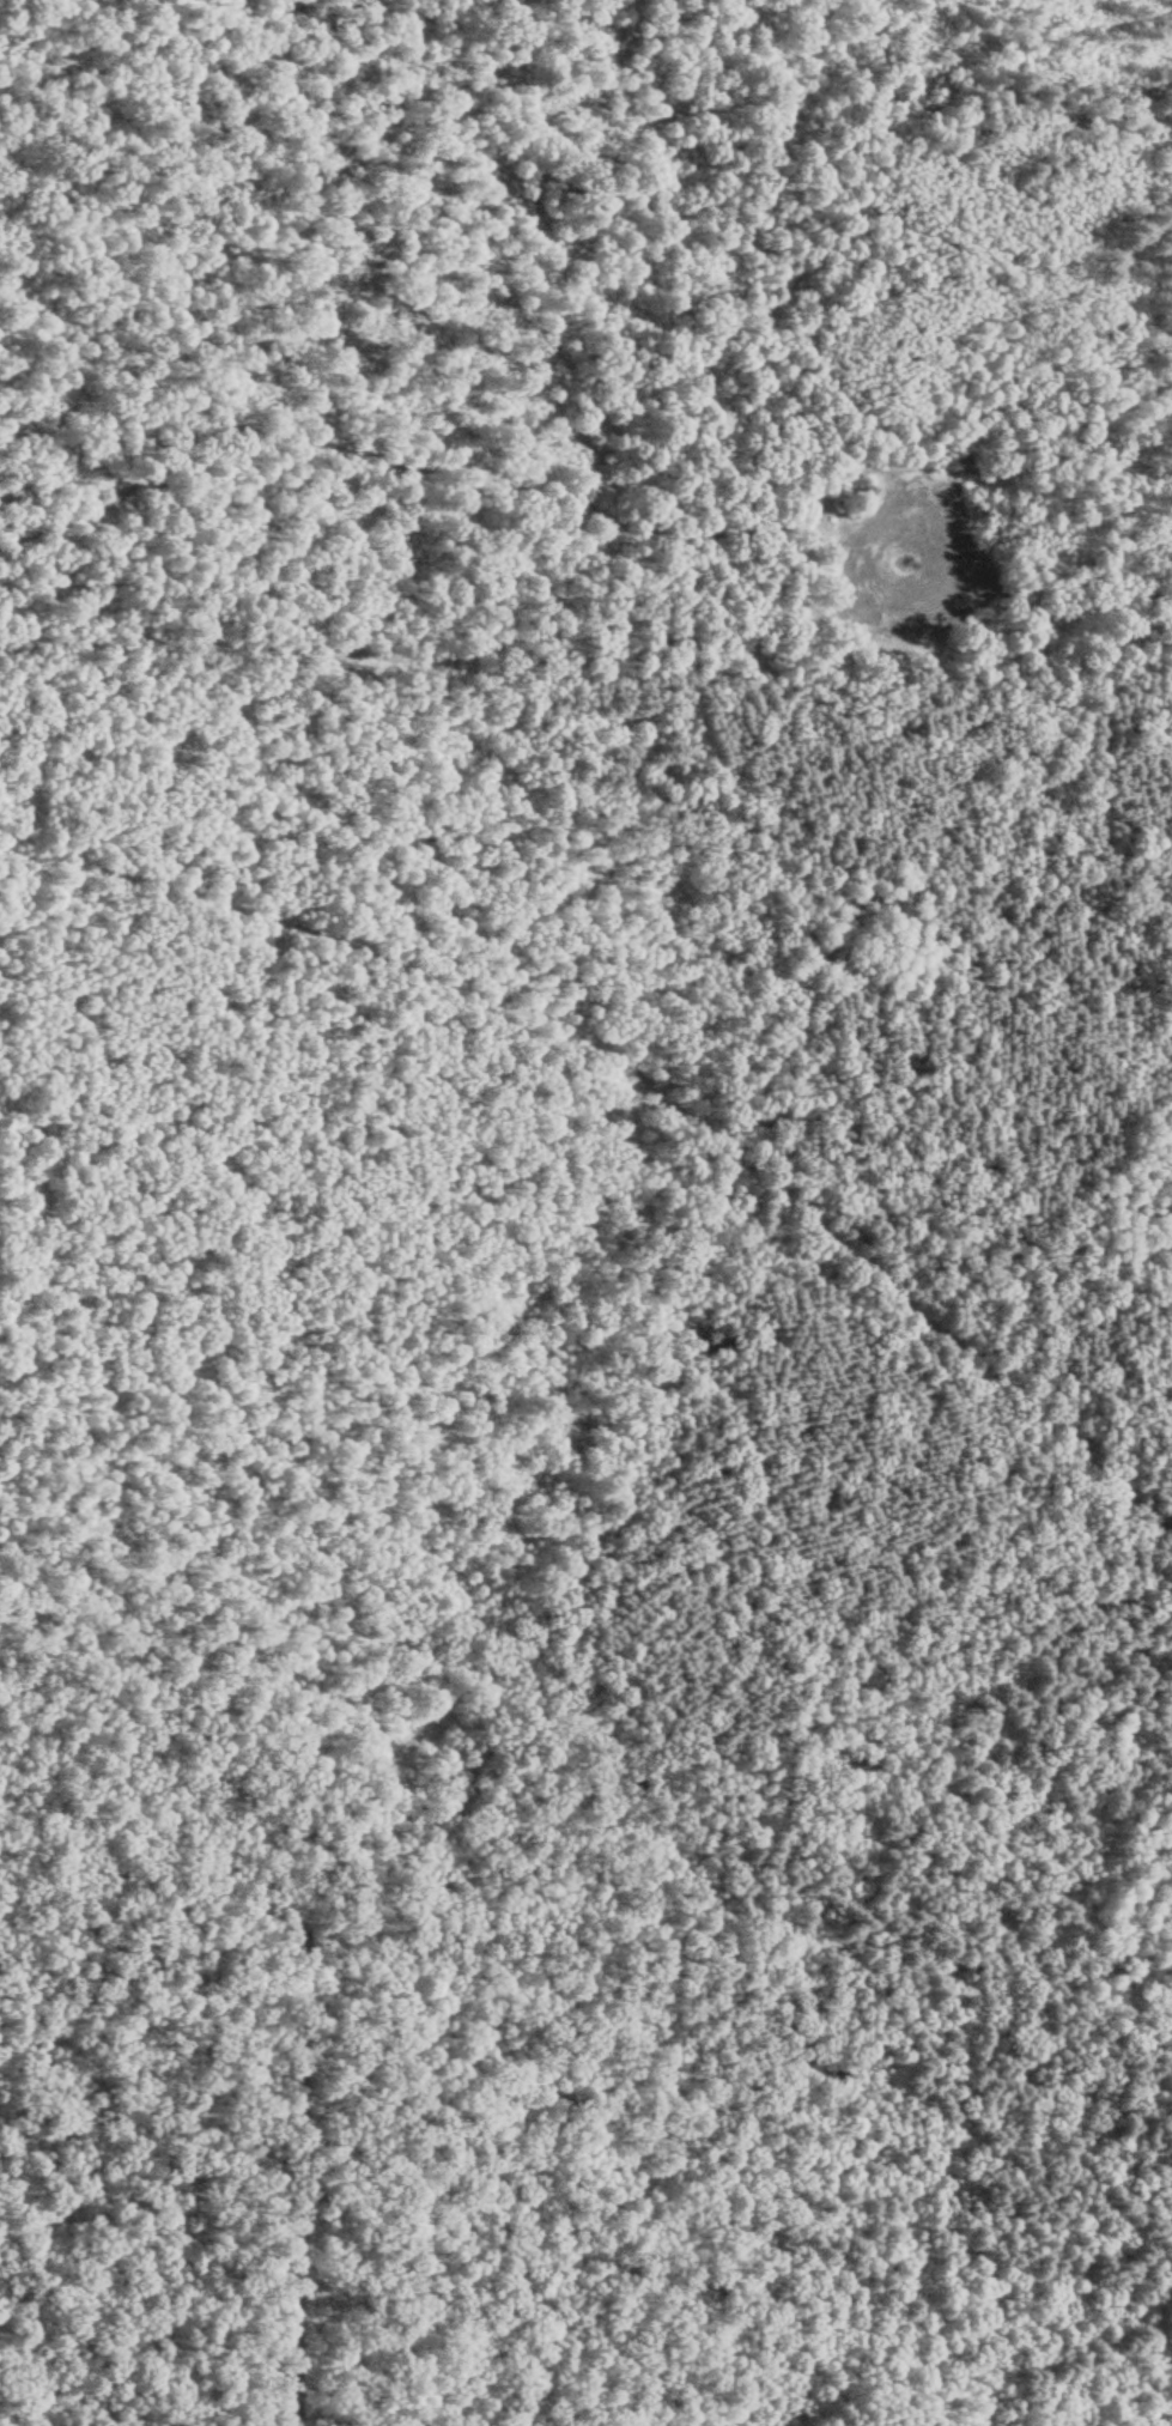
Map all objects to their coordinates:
road: (306, 945)
road: (894, 1285)

